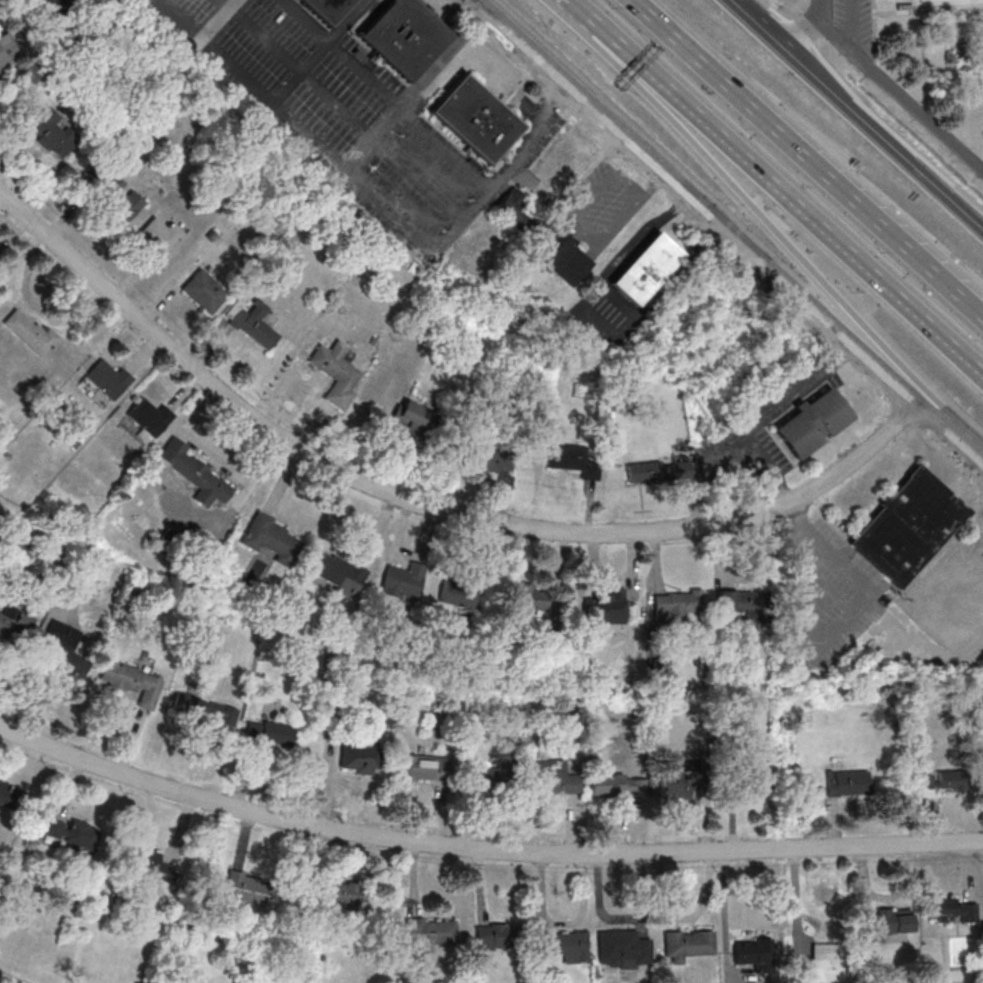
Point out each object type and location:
road: (227, 3)
building: (46, 7)
building: (324, 9)
road: (740, 9)
road: (773, 9)
road: (218, 19)
parking lot: (853, 21)
road: (766, 31)
road: (797, 31)
road: (800, 32)
building: (402, 36)
building: (8, 51)
road: (321, 54)
road: (618, 66)
road: (416, 90)
road: (893, 90)
road: (392, 93)
road: (349, 113)
building: (475, 118)
building: (48, 129)
road: (892, 131)
road: (881, 138)
road: (808, 158)
road: (653, 183)
road: (775, 187)
building: (114, 193)
road: (375, 198)
road: (697, 199)
road: (676, 207)
building: (515, 210)
road: (575, 219)
building: (158, 236)
building: (566, 257)
road: (800, 265)
building: (645, 269)
road: (677, 271)
road: (610, 273)
building: (202, 292)
building: (252, 323)
building: (28, 331)
building: (333, 373)
building: (108, 379)
building: (147, 417)
building: (416, 421)
building: (812, 423)
road: (952, 425)
building: (489, 459)
building: (573, 460)
building: (658, 471)
building: (196, 474)
road: (430, 508)
building: (908, 526)
building: (268, 539)
building: (334, 573)
building: (402, 581)
building: (457, 596)
building: (530, 596)
building: (741, 602)
building: (676, 605)
building: (606, 607)
building: (14, 625)
building: (61, 650)
building: (667, 670)
building: (128, 681)
building: (202, 708)
building: (269, 733)
building: (357, 759)
building: (420, 768)
building: (485, 777)
building: (554, 778)
building: (941, 779)
building: (674, 781)
building: (848, 783)
building: (617, 784)
building: (757, 784)
building: (8, 794)
building: (72, 833)
road: (482, 848)
building: (152, 862)
building: (247, 888)
building: (336, 894)
building: (949, 910)
building: (889, 926)
building: (429, 932)
building: (494, 936)
building: (687, 945)
building: (566, 946)
building: (622, 949)
building: (752, 953)
building: (823, 965)

